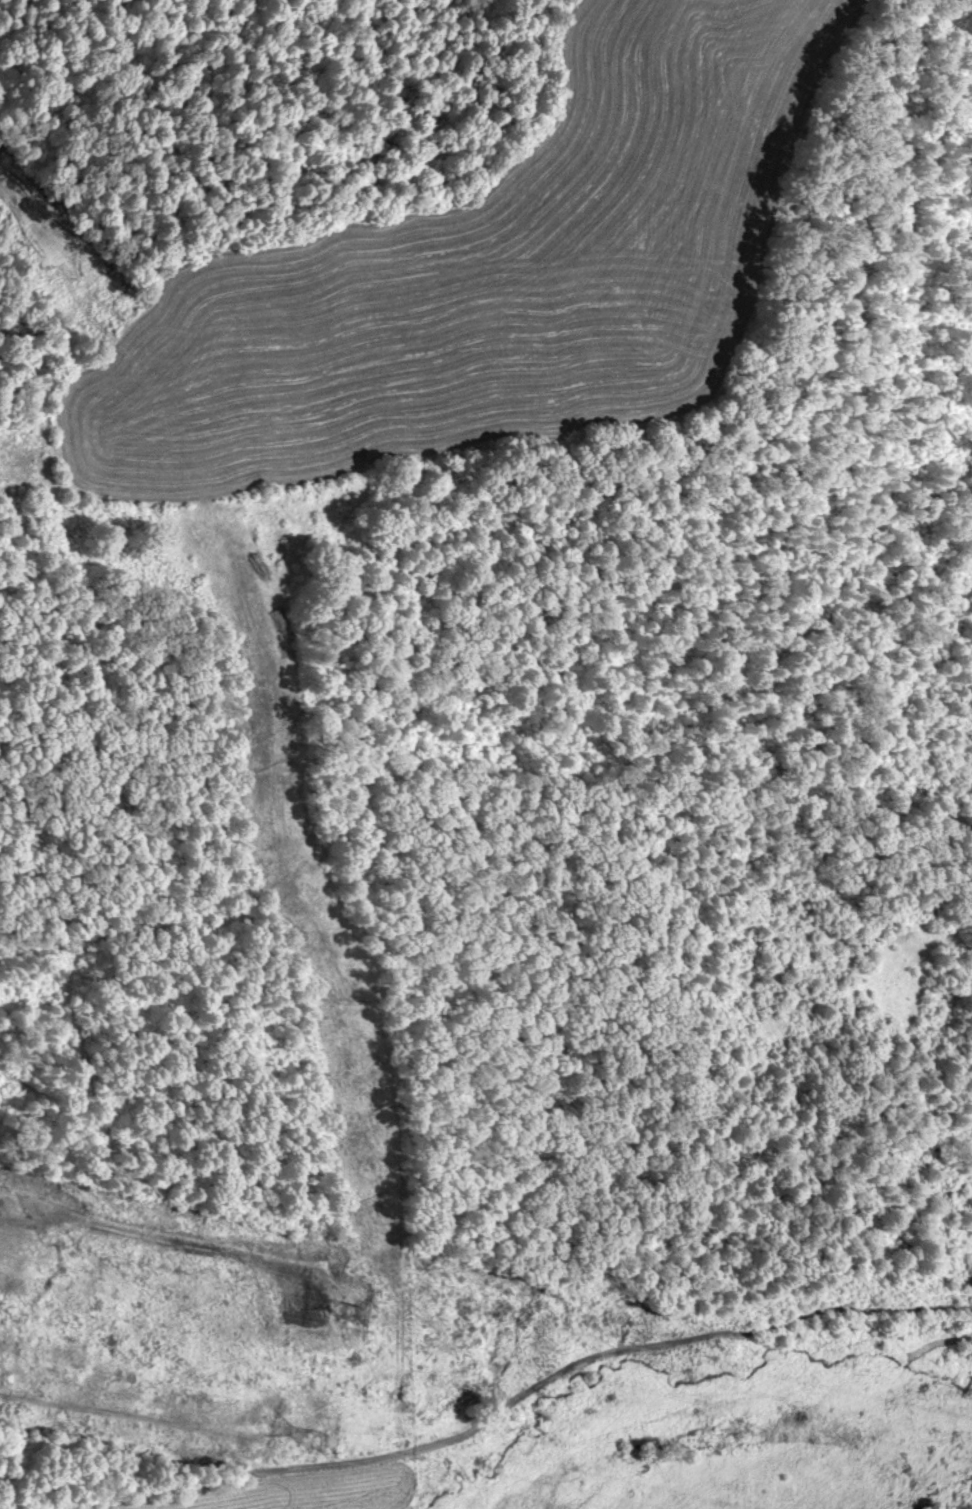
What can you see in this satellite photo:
power tower: (348, 1313)
power tower: (322, 1444)
road: (184, 1475)

